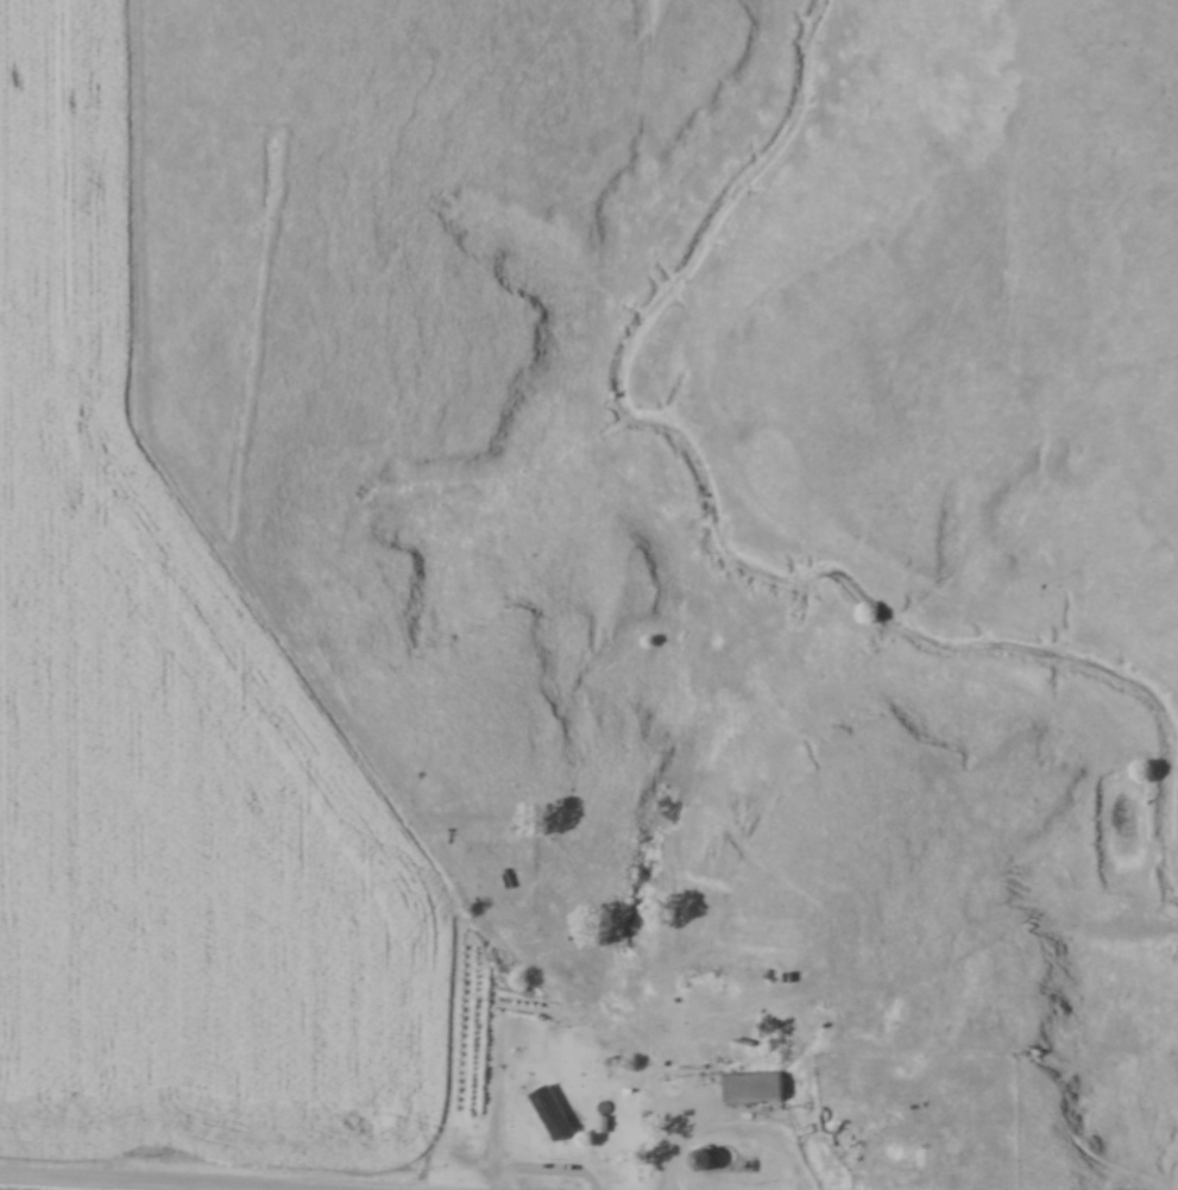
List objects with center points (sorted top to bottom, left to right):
building: (756, 1091)
road: (727, 1116)
building: (824, 1120)
building: (641, 1123)
road: (191, 1182)

